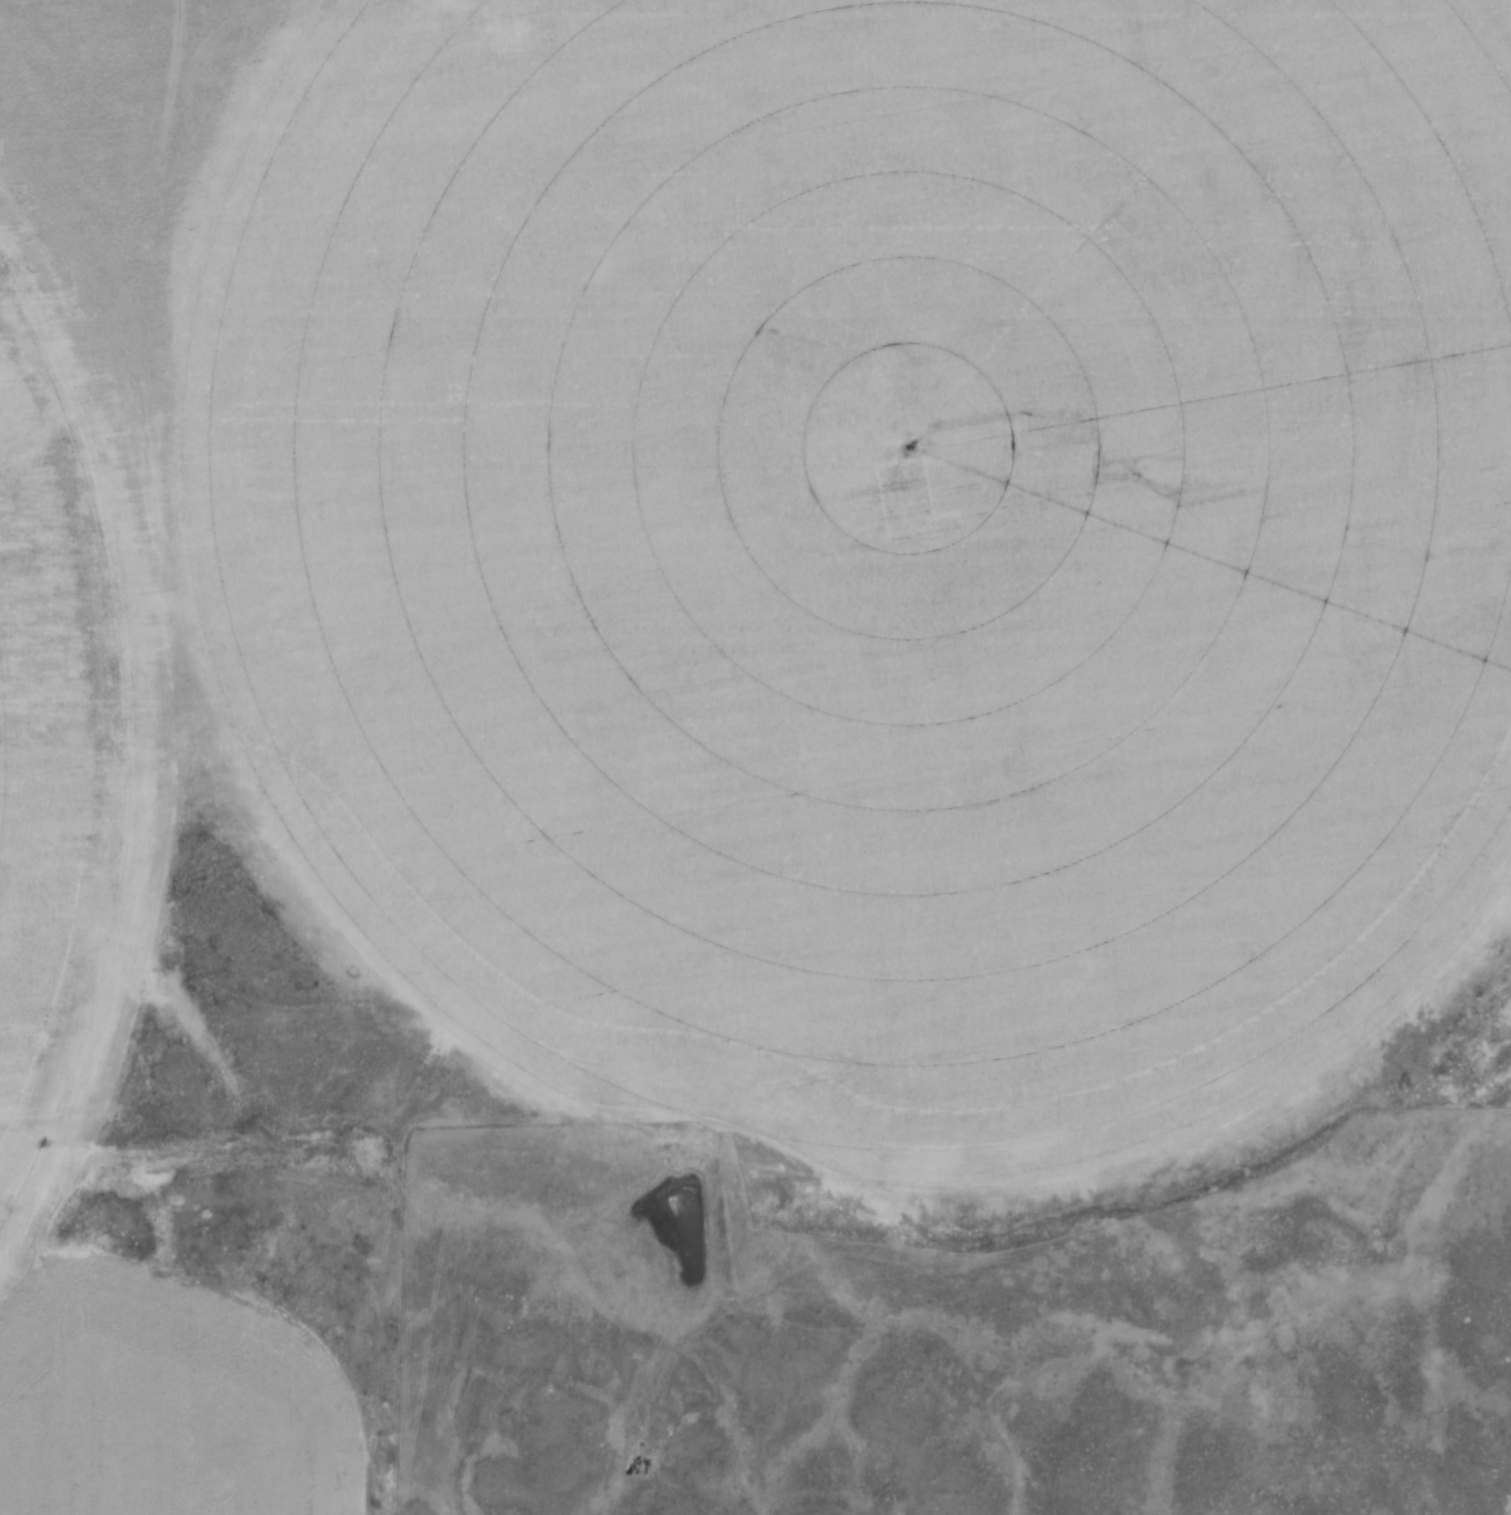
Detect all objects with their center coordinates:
crop: (741, 584)
dam: (723, 1212)

